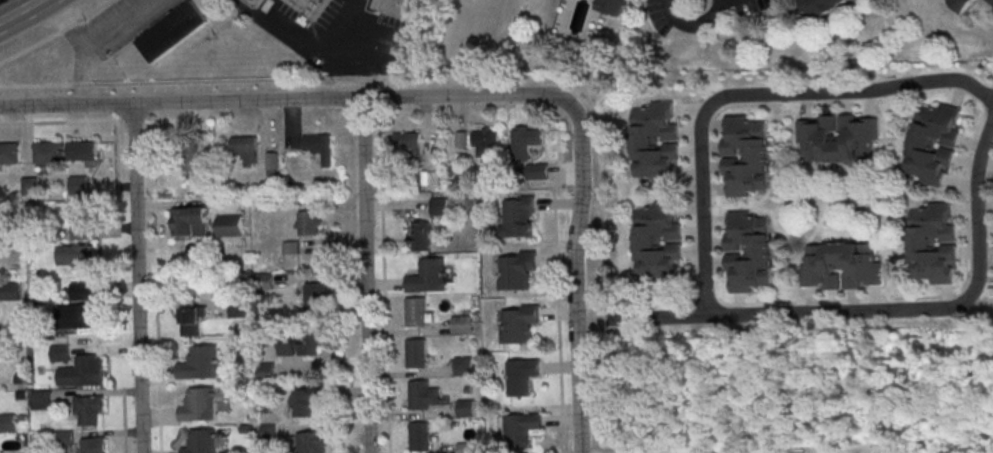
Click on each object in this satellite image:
road: (694, 0)
building: (992, 0)
building: (255, 3)
building: (963, 5)
building: (611, 6)
building: (823, 6)
building: (311, 7)
road: (244, 8)
building: (399, 8)
road: (18, 10)
road: (94, 12)
road: (69, 30)
building: (172, 30)
road: (94, 45)
road: (30, 51)
road: (314, 60)
road: (286, 99)
building: (839, 139)
building: (526, 140)
building: (487, 141)
building: (407, 143)
building: (656, 145)
building: (319, 146)
building: (933, 147)
building: (246, 148)
building: (82, 150)
building: (9, 152)
building: (46, 152)
building: (195, 155)
building: (746, 158)
building: (273, 164)
building: (536, 171)
building: (78, 184)
building: (29, 185)
building: (439, 206)
building: (518, 216)
building: (308, 222)
building: (191, 223)
building: (230, 225)
building: (79, 231)
building: (420, 235)
building: (659, 245)
building: (933, 246)
building: (291, 247)
building: (749, 255)
building: (77, 258)
building: (842, 269)
building: (518, 273)
road: (365, 275)
road: (136, 278)
building: (429, 278)
road: (575, 278)
building: (265, 280)
road: (384, 283)
road: (703, 287)
building: (11, 293)
building: (83, 294)
building: (316, 294)
building: (239, 308)
building: (417, 314)
building: (78, 319)
building: (194, 320)
road: (661, 320)
building: (522, 324)
building: (461, 326)
building: (298, 343)
road: (641, 354)
building: (61, 355)
building: (417, 356)
building: (205, 364)
building: (465, 367)
building: (266, 374)
building: (83, 375)
building: (522, 378)
road: (627, 381)
road: (794, 389)
road: (980, 391)
building: (421, 397)
building: (311, 399)
building: (42, 401)
building: (201, 408)
building: (466, 410)
building: (91, 413)
building: (9, 424)
building: (522, 431)
building: (421, 438)
building: (204, 442)
building: (310, 442)
building: (93, 446)
building: (466, 448)

